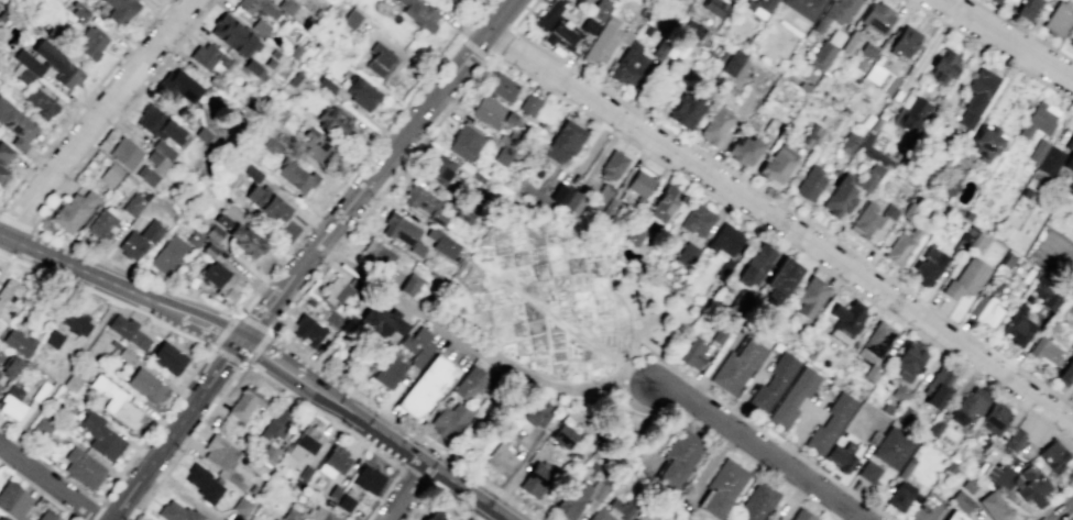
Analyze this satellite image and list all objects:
building: (453, 0)
building: (1061, 0)
building: (995, 1)
building: (763, 5)
building: (256, 7)
building: (713, 7)
building: (803, 7)
building: (600, 9)
building: (1027, 9)
building: (119, 10)
road: (945, 10)
building: (836, 12)
building: (418, 13)
building: (1059, 18)
building: (351, 19)
building: (877, 19)
building: (588, 25)
building: (260, 26)
building: (556, 26)
road: (1022, 30)
building: (687, 31)
building: (233, 35)
road: (460, 37)
building: (605, 38)
road: (1008, 38)
building: (1070, 38)
road: (501, 41)
building: (90, 42)
building: (904, 42)
road: (473, 48)
road: (989, 49)
building: (822, 54)
building: (208, 56)
road: (485, 58)
building: (732, 62)
building: (383, 63)
building: (58, 65)
building: (628, 65)
building: (942, 66)
building: (26, 67)
building: (879, 78)
building: (296, 80)
building: (326, 84)
road: (539, 84)
building: (178, 86)
building: (501, 86)
building: (359, 92)
building: (976, 96)
road: (81, 101)
building: (40, 102)
building: (528, 104)
building: (687, 109)
building: (490, 112)
road: (120, 114)
building: (910, 114)
road: (94, 120)
building: (333, 120)
building: (1037, 121)
building: (15, 124)
building: (714, 125)
road: (399, 140)
building: (563, 141)
building: (847, 142)
building: (464, 143)
building: (985, 143)
building: (271, 144)
building: (316, 145)
building: (1037, 150)
building: (743, 151)
building: (874, 152)
building: (124, 153)
building: (1069, 154)
building: (502, 155)
building: (3, 159)
building: (1050, 161)
building: (776, 165)
building: (612, 166)
building: (440, 169)
building: (109, 175)
building: (145, 175)
building: (296, 176)
building: (952, 179)
building: (638, 184)
building: (810, 184)
building: (1069, 186)
building: (839, 197)
building: (567, 198)
road: (773, 199)
building: (420, 201)
building: (265, 202)
building: (664, 203)
building: (132, 204)
building: (73, 211)
building: (871, 219)
building: (697, 220)
building: (105, 221)
road: (14, 222)
road: (781, 224)
building: (402, 232)
building: (634, 232)
building: (213, 233)
building: (240, 236)
building: (724, 239)
building: (139, 240)
building: (968, 241)
building: (442, 243)
road: (289, 245)
building: (900, 245)
road: (492, 250)
building: (167, 254)
building: (686, 254)
road: (6, 255)
building: (377, 255)
road: (1059, 257)
road: (6, 265)
building: (754, 265)
building: (928, 266)
road: (79, 270)
building: (965, 278)
building: (220, 280)
building: (778, 284)
building: (409, 285)
building: (335, 291)
building: (1043, 291)
road: (398, 297)
building: (8, 298)
building: (809, 298)
road: (112, 299)
road: (264, 310)
building: (985, 310)
street lamp: (243, 311)
road: (554, 317)
building: (332, 319)
building: (75, 320)
building: (382, 321)
road: (200, 322)
building: (1016, 325)
building: (0, 331)
building: (127, 331)
building: (307, 331)
park: (559, 331)
road: (267, 333)
building: (877, 335)
building: (53, 339)
traffic signals: (241, 340)
building: (18, 341)
building: (113, 344)
road: (211, 346)
building: (418, 346)
road: (632, 347)
building: (1044, 350)
building: (128, 354)
building: (693, 355)
building: (911, 356)
building: (167, 357)
road: (239, 361)
street lamp: (244, 362)
road: (621, 363)
building: (10, 365)
building: (736, 366)
road: (288, 370)
building: (390, 370)
building: (1065, 373)
road: (61, 374)
road: (624, 374)
road: (640, 376)
building: (774, 380)
building: (70, 381)
building: (470, 383)
road: (548, 383)
building: (940, 383)
building: (146, 385)
building: (425, 387)
building: (40, 391)
building: (793, 396)
parking lot: (1071, 398)
road: (1066, 401)
building: (11, 402)
building: (116, 402)
building: (244, 402)
building: (972, 402)
building: (996, 411)
building: (536, 413)
road: (490, 416)
building: (448, 420)
building: (831, 420)
building: (276, 423)
building: (39, 428)
road: (174, 429)
road: (758, 429)
road: (347, 432)
building: (98, 433)
building: (561, 435)
building: (1016, 439)
road: (188, 442)
building: (305, 442)
road: (725, 443)
building: (990, 444)
building: (895, 445)
road: (759, 450)
building: (267, 454)
building: (1052, 455)
building: (841, 456)
building: (220, 457)
building: (500, 460)
road: (1072, 460)
building: (333, 461)
building: (677, 461)
road: (420, 462)
road: (1065, 465)
building: (907, 466)
building: (83, 468)
building: (868, 469)
road: (437, 471)
building: (305, 473)
road: (118, 474)
road: (413, 477)
building: (368, 478)
building: (535, 478)
road: (50, 482)
building: (202, 483)
building: (722, 488)
road: (40, 490)
road: (499, 490)
building: (1033, 490)
building: (333, 491)
road: (434, 491)
road: (406, 493)
building: (899, 496)
building: (576, 497)
road: (1012, 497)
road: (1056, 498)
building: (12, 500)
building: (961, 500)
building: (344, 502)
building: (757, 502)
building: (241, 506)
building: (993, 506)
building: (622, 507)
road: (91, 511)
road: (932, 511)
building: (176, 512)
building: (289, 515)
building: (321, 515)
building: (600, 515)
building: (802, 515)
road: (1036, 515)
building: (46, 516)
building: (434, 516)
building: (954, 516)
road: (1067, 516)
building: (353, 517)
building: (2, 518)
building: (633, 519)
building: (732, 519)
road: (1029, 519)

